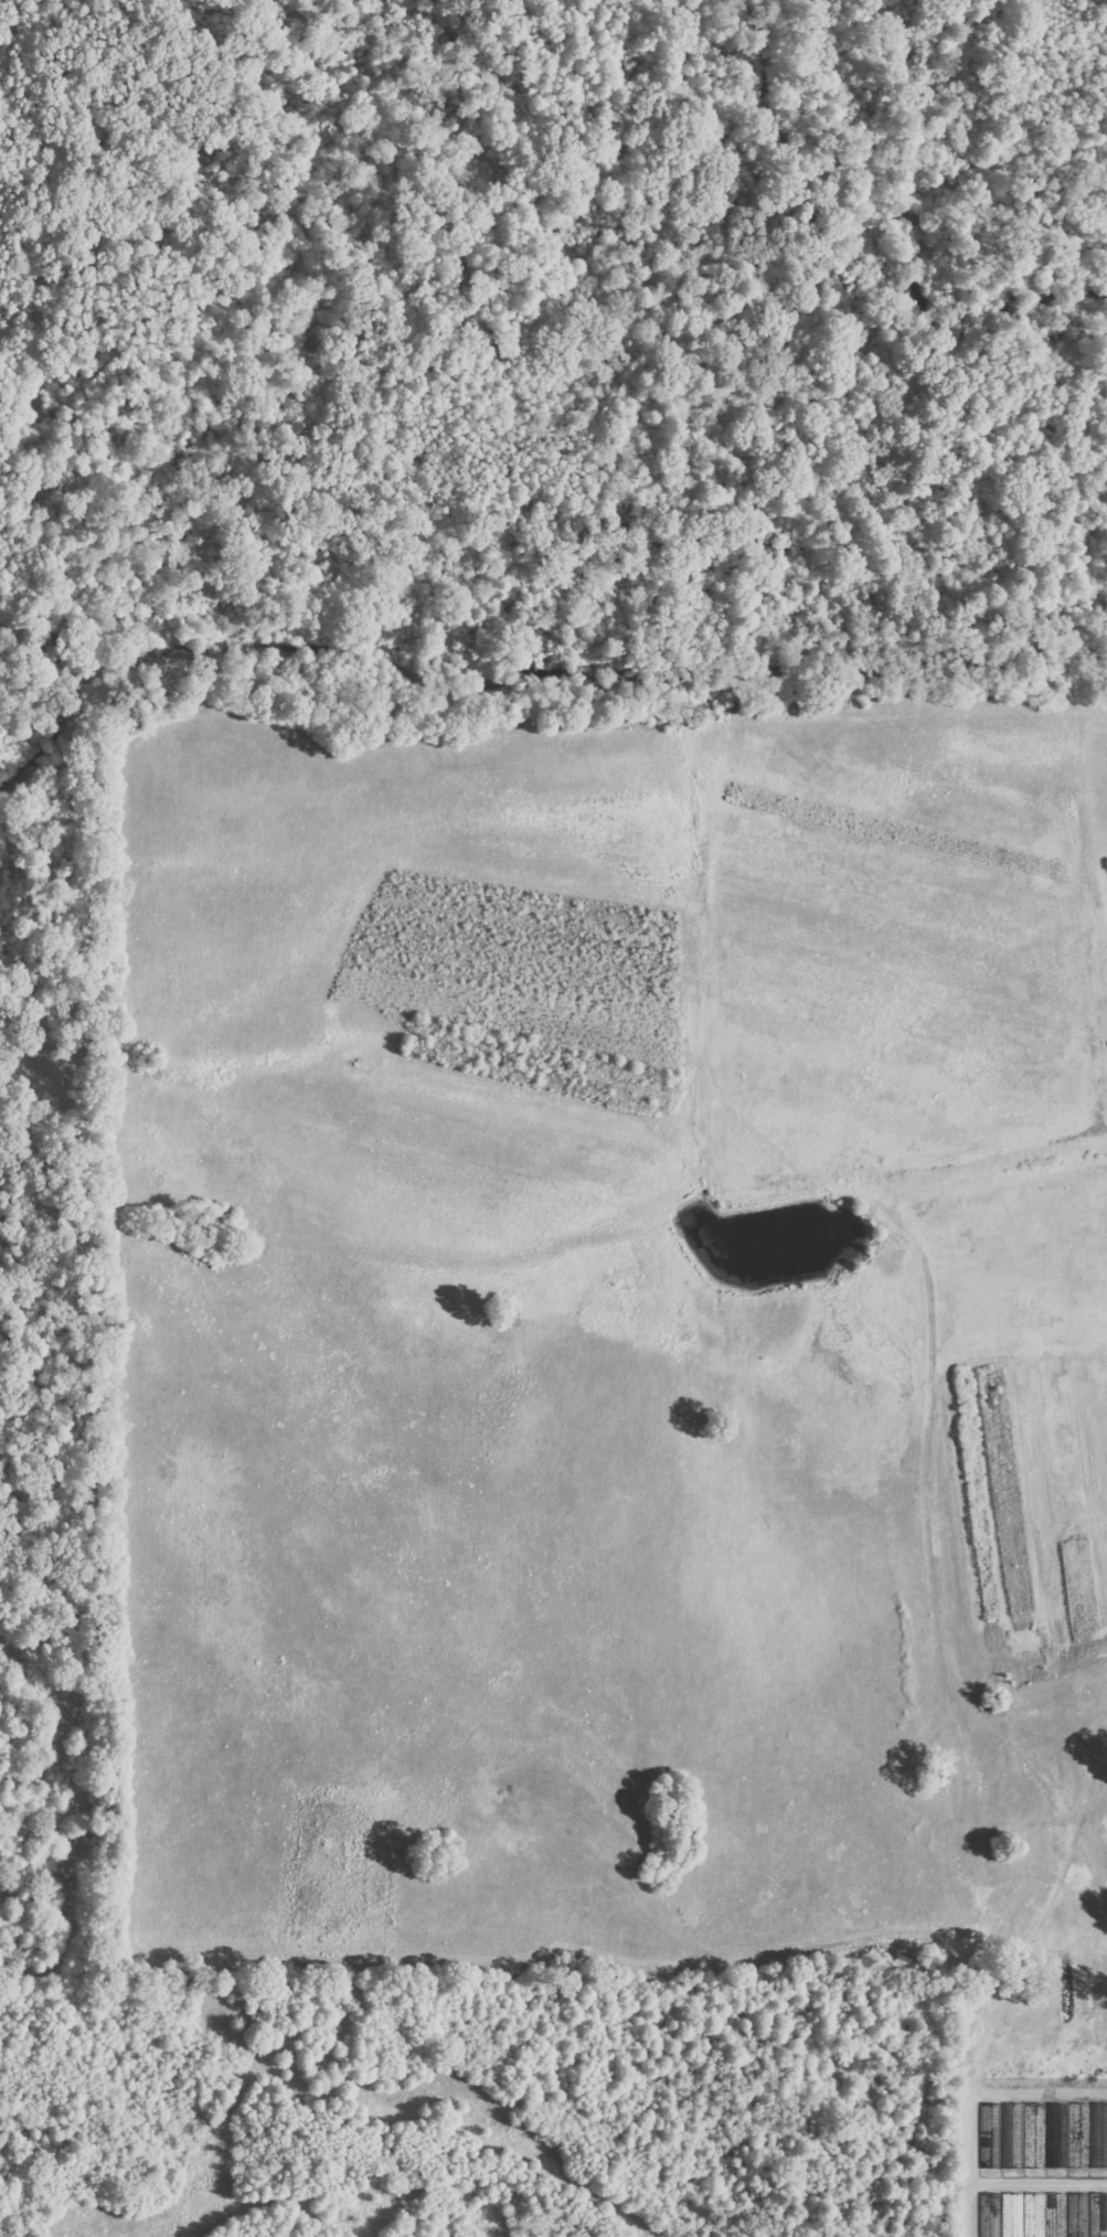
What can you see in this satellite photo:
road: (973, 2102)
building: (1043, 2134)
building: (1043, 2214)

